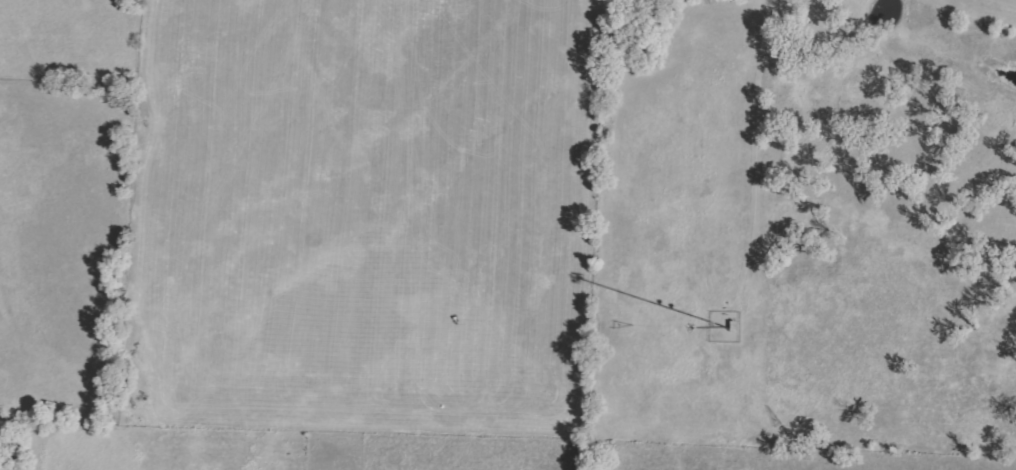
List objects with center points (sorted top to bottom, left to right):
road: (755, 156)

